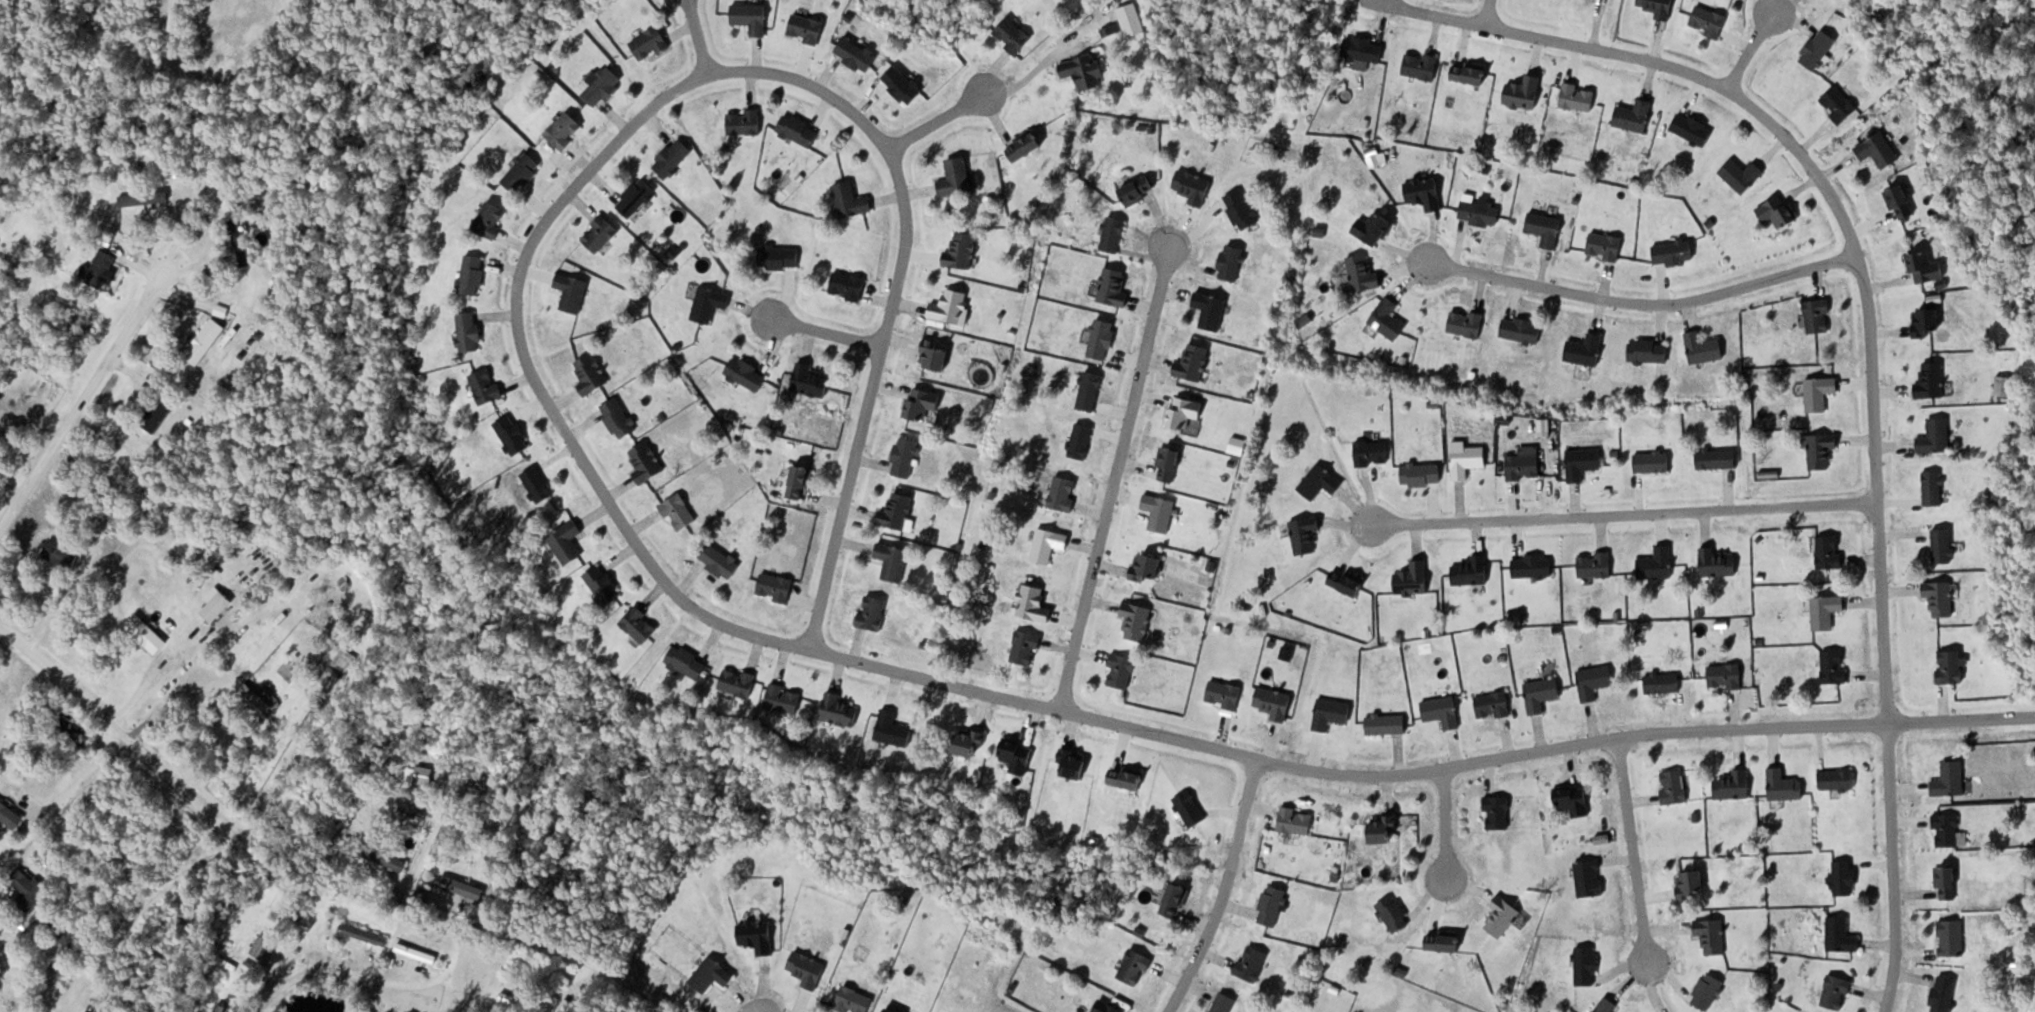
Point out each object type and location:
building: (1659, 7)
road: (1489, 13)
building: (751, 16)
building: (1708, 20)
building: (805, 27)
building: (1013, 35)
road: (697, 38)
building: (650, 43)
road: (1750, 48)
building: (1818, 48)
building: (1364, 49)
building: (856, 53)
building: (1420, 65)
building: (1084, 71)
building: (1469, 74)
building: (902, 84)
building: (602, 86)
road: (673, 90)
building: (1523, 91)
building: (1578, 96)
building: (1839, 103)
building: (1633, 115)
road: (938, 120)
building: (744, 121)
building: (1692, 128)
building: (565, 129)
building: (799, 129)
building: (1024, 144)
building: (1878, 149)
building: (672, 157)
building: (522, 172)
building: (1742, 174)
building: (956, 176)
building: (1193, 185)
building: (1138, 189)
building: (1424, 192)
building: (635, 196)
building: (143, 198)
building: (851, 199)
building: (1241, 209)
road: (1838, 209)
building: (1778, 211)
building: (1480, 212)
building: (490, 219)
building: (1374, 228)
building: (1545, 228)
building: (599, 233)
building: (1113, 234)
building: (239, 244)
building: (1605, 246)
building: (962, 251)
building: (1673, 252)
building: (780, 257)
building: (1231, 262)
building: (1927, 267)
building: (103, 270)
building: (1362, 273)
building: (472, 274)
building: (848, 284)
building: (1113, 287)
building: (572, 291)
road: (1644, 302)
building: (710, 303)
building: (952, 306)
building: (1210, 309)
building: (1817, 315)
building: (1388, 319)
building: (1926, 321)
building: (1466, 323)
building: (1521, 329)
building: (469, 330)
road: (824, 332)
building: (1102, 338)
building: (205, 340)
building: (1703, 347)
building: (1586, 350)
building: (1649, 350)
building: (934, 354)
building: (1193, 362)
building: (746, 373)
building: (591, 374)
building: (810, 379)
building: (1931, 380)
building: (486, 385)
building: (1090, 390)
building: (1819, 392)
road: (84, 395)
building: (923, 402)
building: (1185, 411)
building: (157, 414)
building: (618, 417)
building: (513, 433)
building: (1936, 435)
building: (1081, 440)
building: (1821, 450)
building: (1372, 452)
building: (905, 456)
building: (1716, 457)
building: (1468, 460)
building: (1652, 461)
building: (646, 462)
building: (1583, 462)
building: (1168, 463)
building: (1524, 466)
road: (1113, 474)
building: (1421, 474)
building: (799, 481)
building: (1320, 481)
building: (538, 483)
building: (1933, 487)
building: (1063, 492)
building: (897, 510)
building: (679, 511)
building: (1160, 511)
road: (1624, 512)
building: (1305, 534)
building: (567, 541)
building: (1048, 544)
building: (1943, 544)
building: (1829, 551)
building: (61, 553)
building: (720, 560)
building: (893, 560)
building: (1717, 562)
building: (1657, 563)
building: (1595, 564)
building: (1532, 565)
building: (1146, 566)
building: (1472, 570)
building: (1413, 578)
building: (1347, 581)
building: (603, 584)
building: (775, 586)
building: (1940, 596)
building: (1034, 603)
building: (1825, 610)
building: (872, 612)
building: (1137, 620)
building: (640, 624)
building: (145, 633)
building: (1025, 647)
building: (687, 661)
building: (1833, 666)
building: (1950, 666)
building: (1121, 670)
building: (1725, 675)
building: (738, 681)
building: (1594, 681)
building: (1662, 681)
building: (1224, 693)
building: (1542, 693)
building: (785, 698)
building: (258, 700)
building: (1274, 702)
building: (1493, 705)
building: (840, 709)
building: (1442, 711)
building: (1332, 713)
building: (1386, 723)
building: (894, 729)
road: (118, 731)
building: (970, 743)
building: (1018, 756)
building: (1073, 763)
road: (1417, 771)
building: (420, 775)
building: (1127, 778)
building: (1951, 779)
building: (1836, 781)
building: (1733, 785)
building: (1674, 786)
building: (1784, 786)
building: (1574, 801)
building: (1190, 808)
building: (1497, 812)
building: (10, 815)
building: (1296, 820)
road: (1444, 827)
building: (1384, 829)
building: (1949, 831)
road: (1631, 854)
building: (384, 856)
road: (1893, 868)
building: (1590, 877)
building: (1844, 877)
building: (1690, 883)
building: (1947, 883)
building: (26, 888)
road: (1224, 888)
building: (460, 889)
building: (1174, 900)
building: (1272, 905)
building: (1394, 913)
building: (1502, 916)
building: (363, 934)
building: (1712, 935)
building: (1841, 935)
building: (756, 936)
building: (70, 937)
building: (1952, 937)
building: (1444, 940)
building: (264, 947)
building: (416, 953)
road: (575, 956)
building: (1251, 963)
road: (329, 965)
building: (1586, 965)
building: (1134, 967)
building: (807, 968)
building: (711, 974)
building: (1707, 990)
building: (1837, 992)
building: (1943, 994)
building: (853, 1000)
building: (1224, 1003)
building: (1607, 1005)
building: (1107, 1007)

